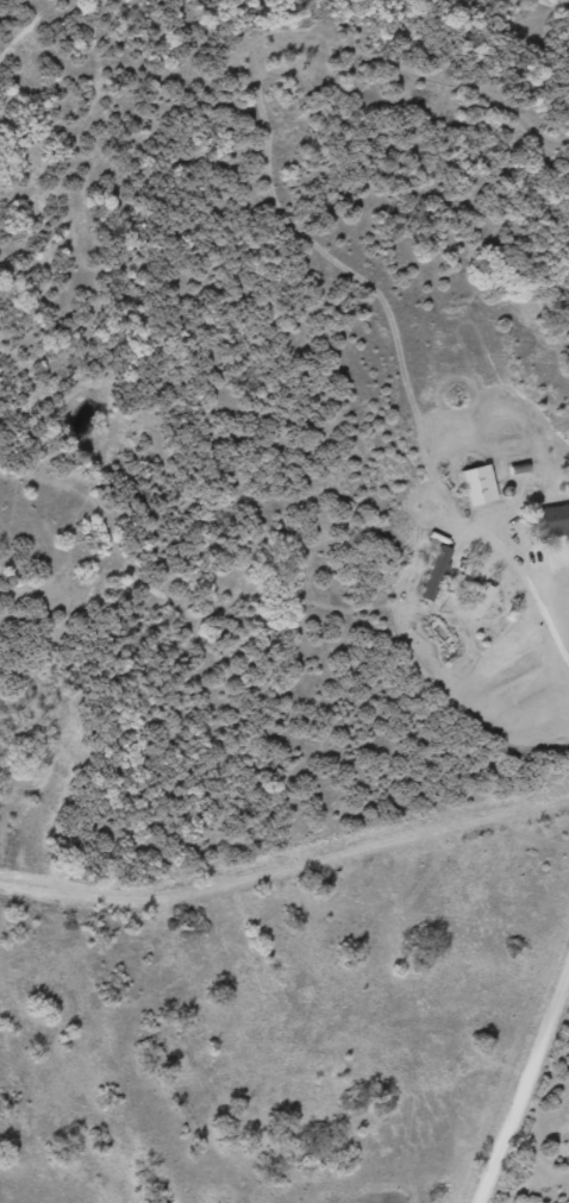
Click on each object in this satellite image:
road: (545, 333)
building: (482, 484)
building: (554, 521)
road: (518, 1090)

